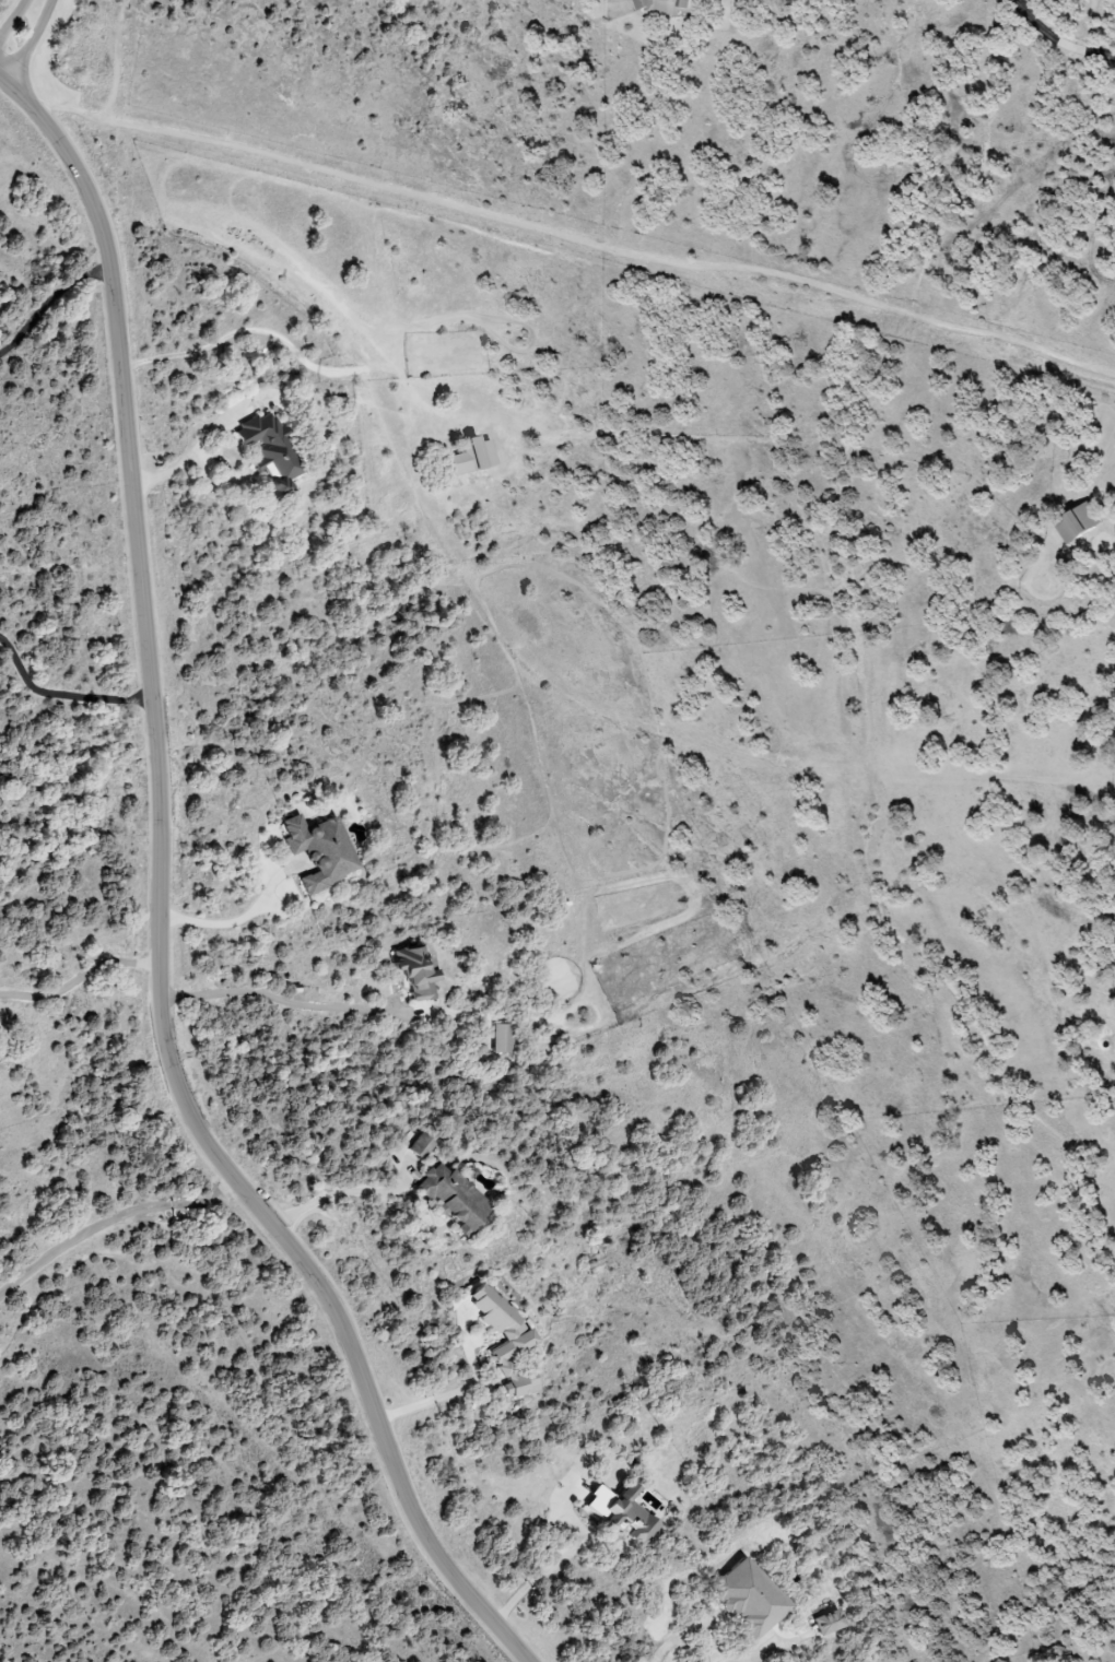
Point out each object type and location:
building: (661, 5)
road: (14, 20)
road: (1055, 42)
road: (30, 46)
road: (0, 85)
road: (573, 239)
road: (49, 303)
building: (266, 452)
building: (469, 455)
road: (190, 459)
building: (1076, 521)
road: (61, 691)
building: (316, 850)
road: (159, 908)
road: (227, 919)
building: (412, 971)
road: (81, 976)
road: (274, 1000)
building: (504, 1038)
building: (419, 1146)
road: (332, 1194)
building: (450, 1194)
road: (109, 1215)
building: (502, 1340)
road: (434, 1393)
building: (620, 1513)
road: (531, 1586)
building: (746, 1596)
building: (826, 1622)
road: (686, 1631)

